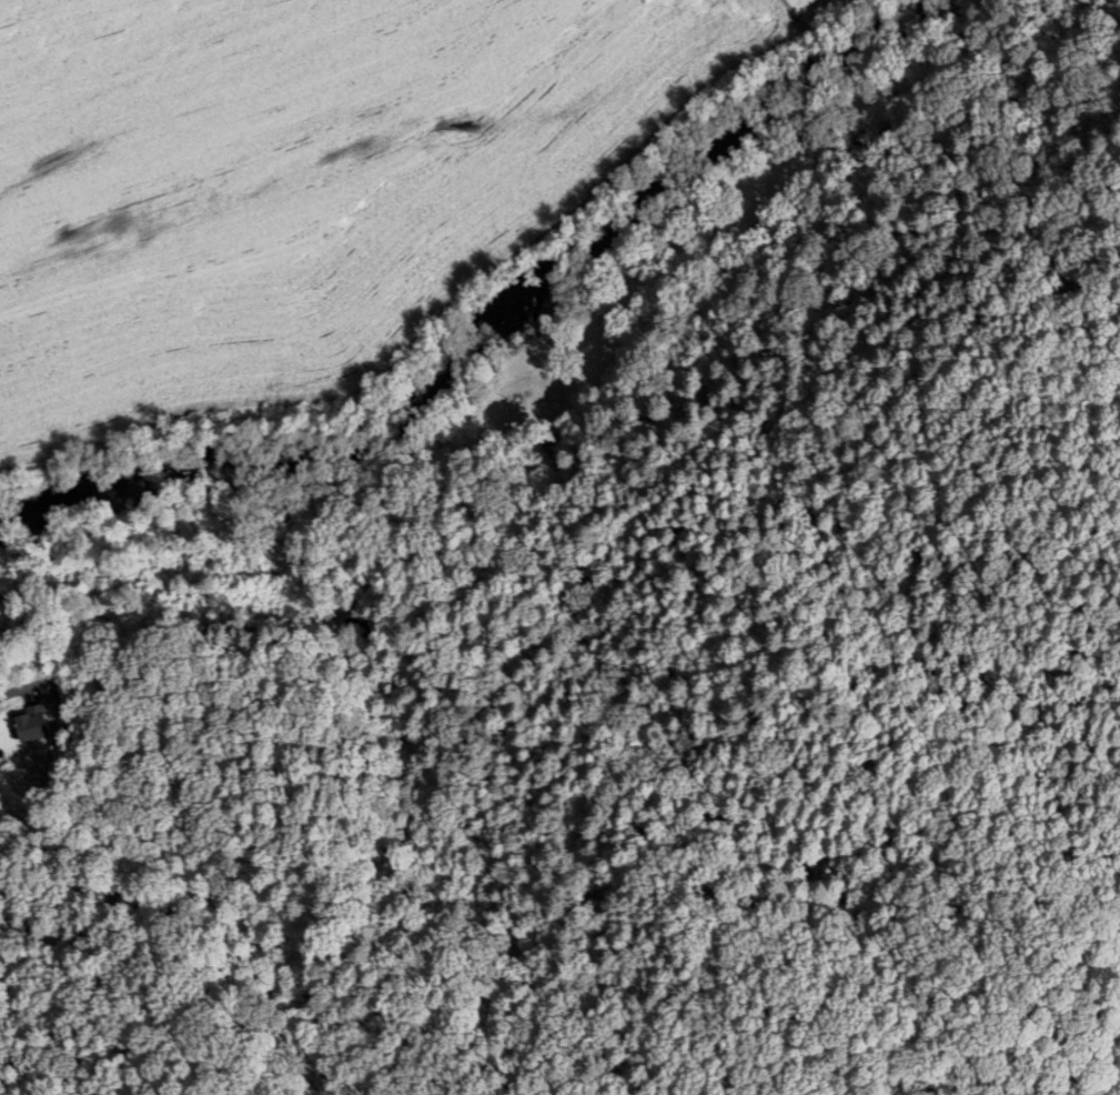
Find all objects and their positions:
river: (493, 331)
building: (515, 429)
road: (545, 435)
road: (11, 694)
building: (30, 725)

